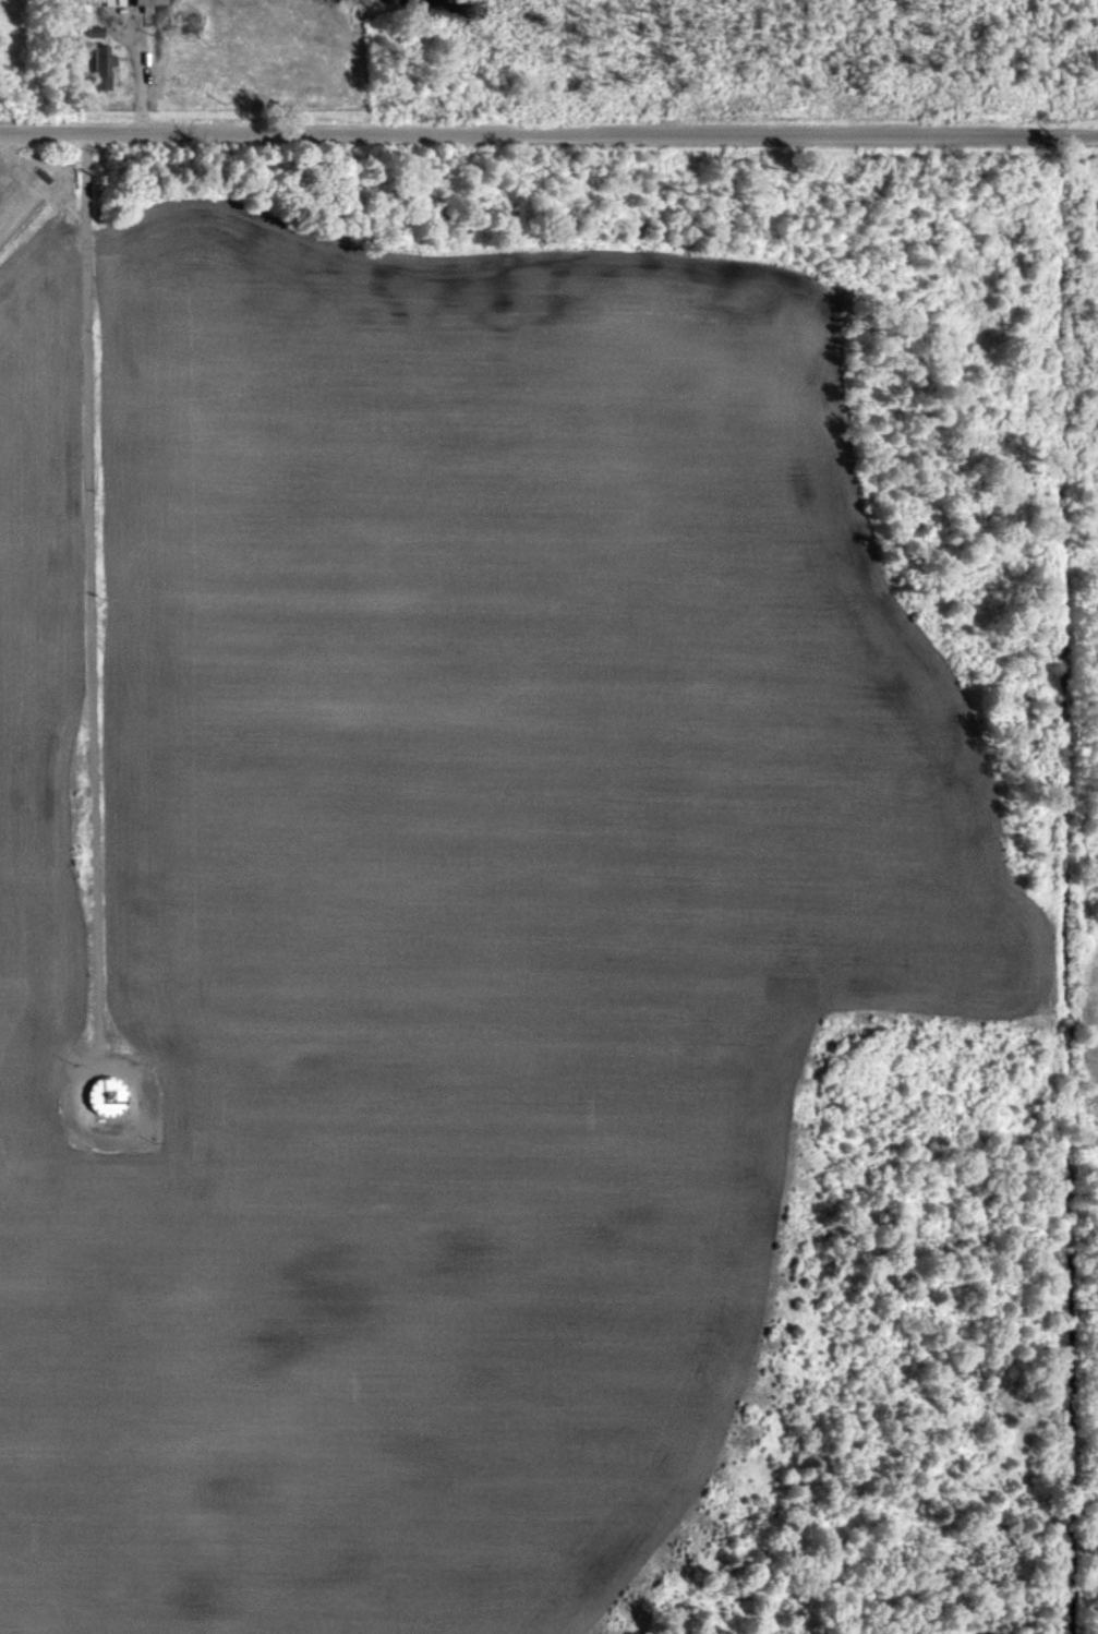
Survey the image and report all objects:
building: (112, 2)
building: (147, 4)
building: (93, 31)
building: (101, 65)
road: (145, 75)
road: (548, 134)
road: (45, 625)
building: (107, 1095)

